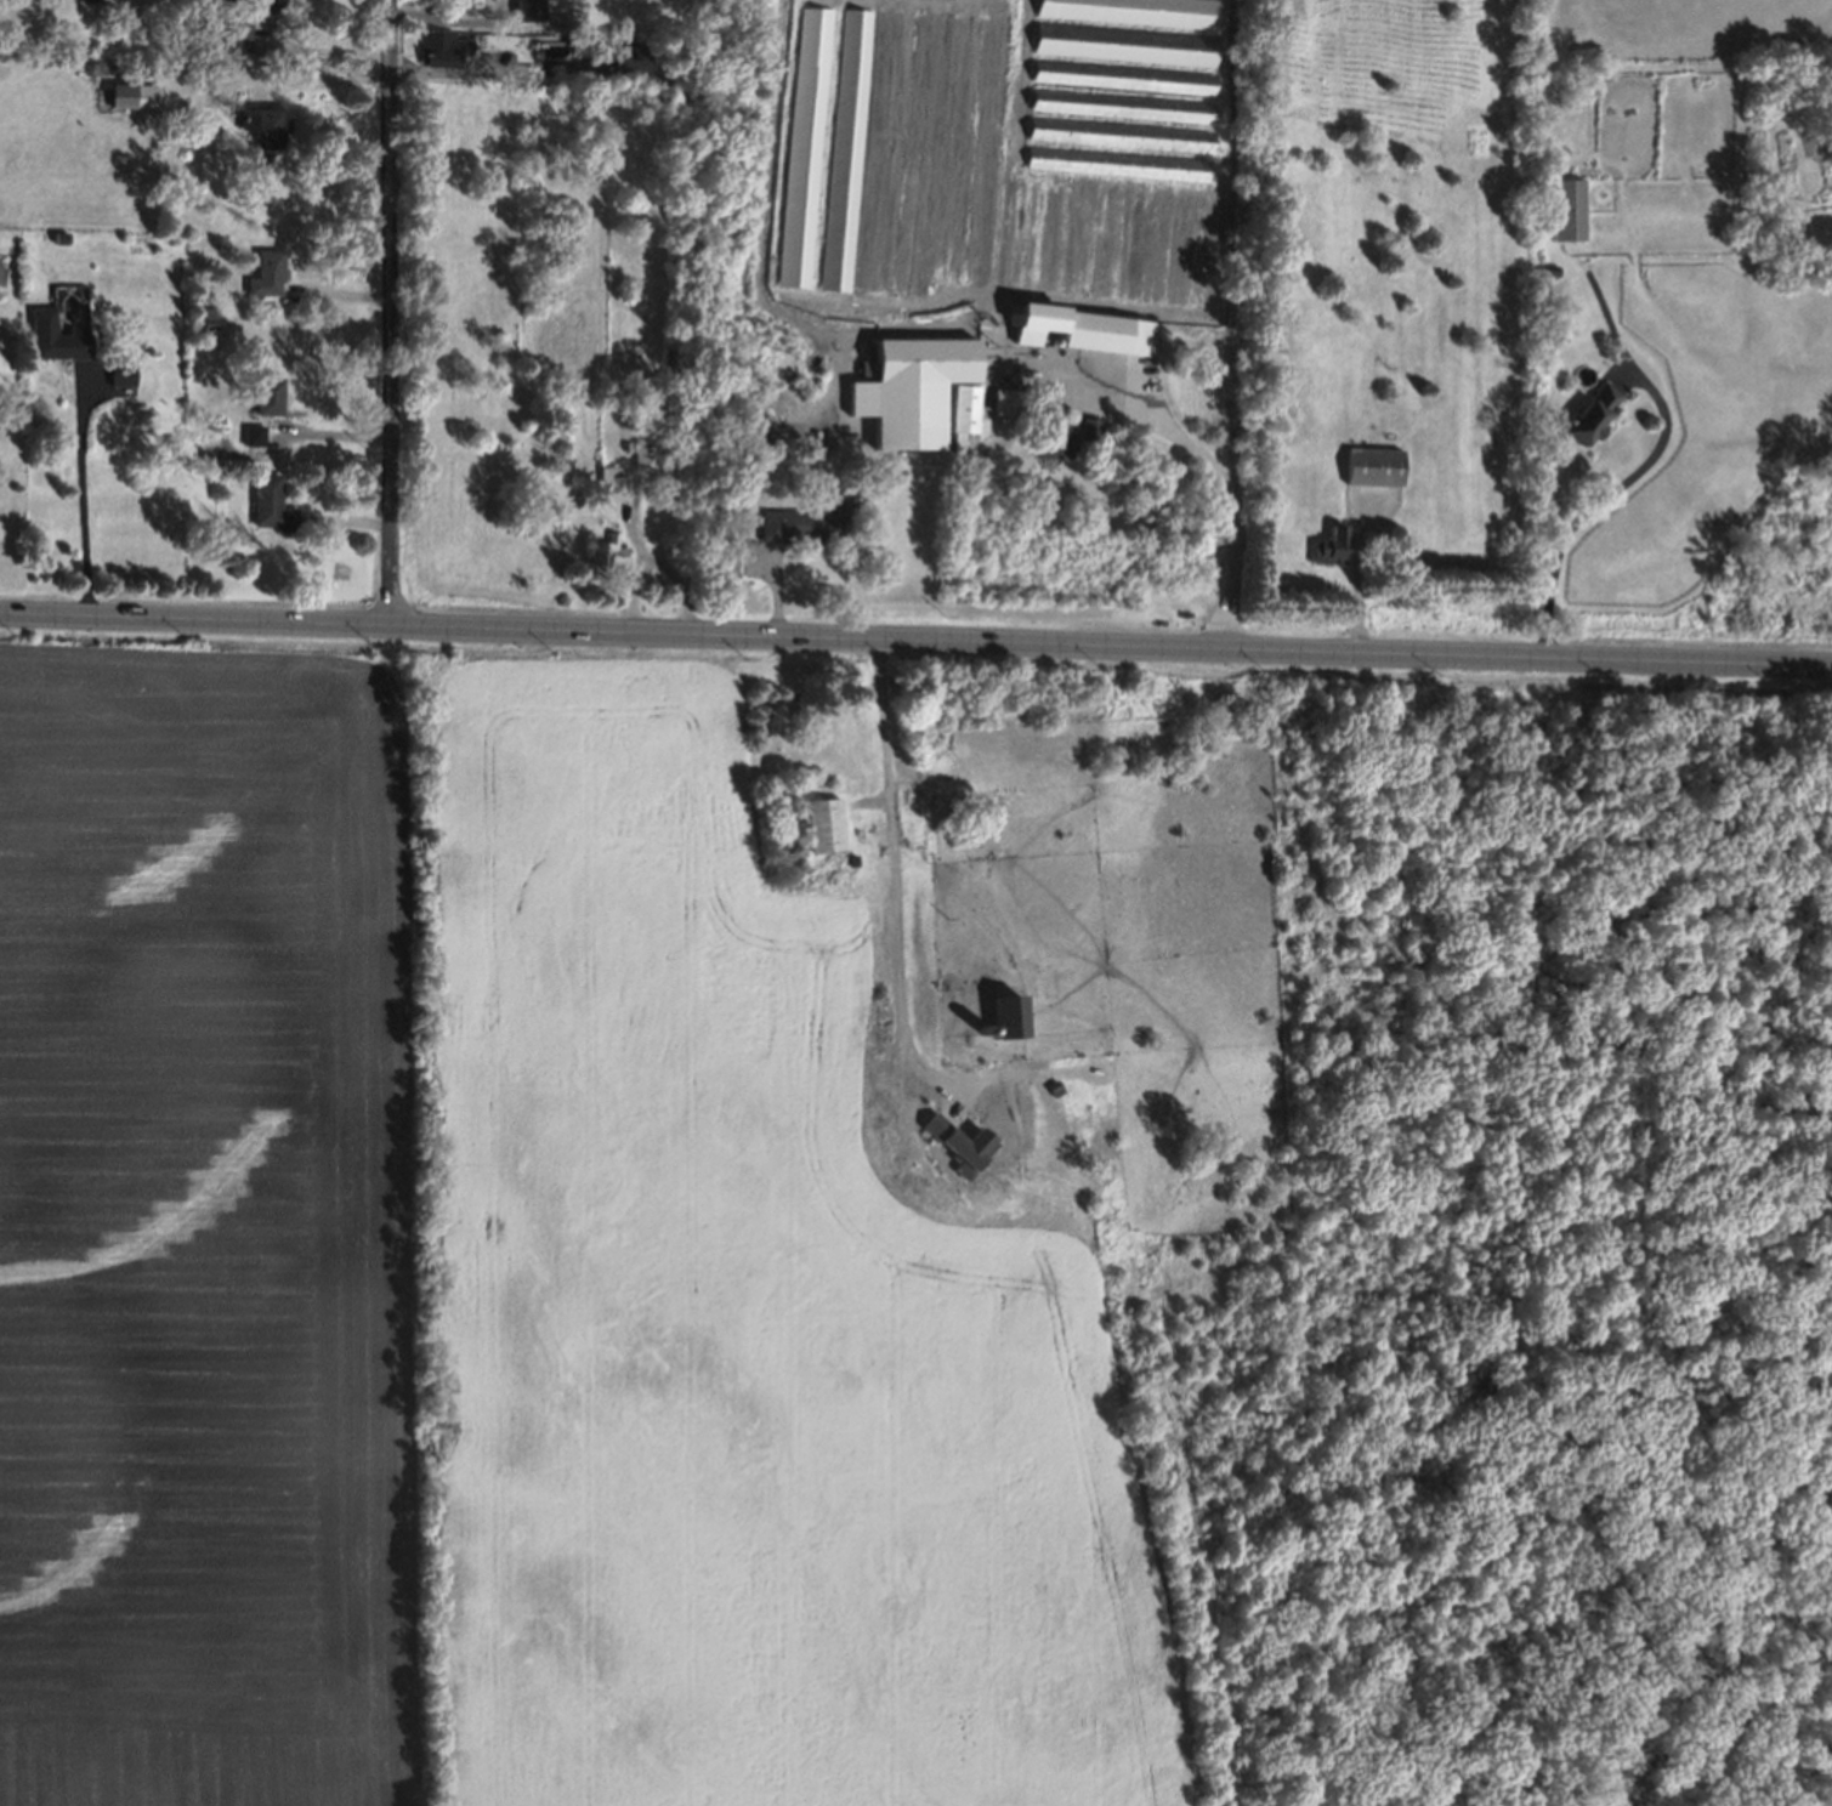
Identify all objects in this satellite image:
building: (259, 4)
building: (522, 8)
building: (100, 12)
building: (1136, 12)
building: (231, 38)
building: (438, 46)
building: (1125, 46)
building: (628, 56)
building: (140, 66)
road: (299, 78)
building: (1124, 79)
building: (131, 93)
building: (1122, 106)
building: (261, 125)
building: (1121, 135)
building: (801, 144)
building: (959, 149)
building: (846, 150)
building: (989, 153)
building: (885, 154)
building: (924, 155)
building: (1119, 164)
building: (1565, 208)
building: (59, 234)
building: (1020, 235)
building: (1050, 238)
building: (1079, 240)
building: (1105, 242)
building: (1130, 245)
building: (1157, 248)
building: (1182, 250)
building: (1209, 251)
building: (265, 269)
building: (1545, 272)
road: (1605, 309)
road: (390, 312)
building: (206, 318)
building: (1079, 329)
building: (51, 336)
building: (119, 371)
building: (909, 388)
building: (266, 392)
building: (781, 394)
building: (1005, 404)
building: (1587, 411)
building: (969, 421)
building: (1088, 428)
building: (251, 435)
building: (1053, 436)
building: (640, 454)
road: (1209, 462)
building: (1372, 465)
building: (608, 476)
road: (1598, 496)
building: (268, 500)
road: (84, 506)
building: (799, 518)
building: (1334, 540)
building: (605, 551)
road: (915, 640)
building: (835, 729)
building: (891, 746)
building: (821, 820)
building: (869, 827)
building: (847, 862)
road: (897, 879)
building: (1004, 1015)
building: (981, 1028)
building: (960, 1145)
park: (1690, 1238)
road: (1720, 1340)
road: (1616, 1395)

